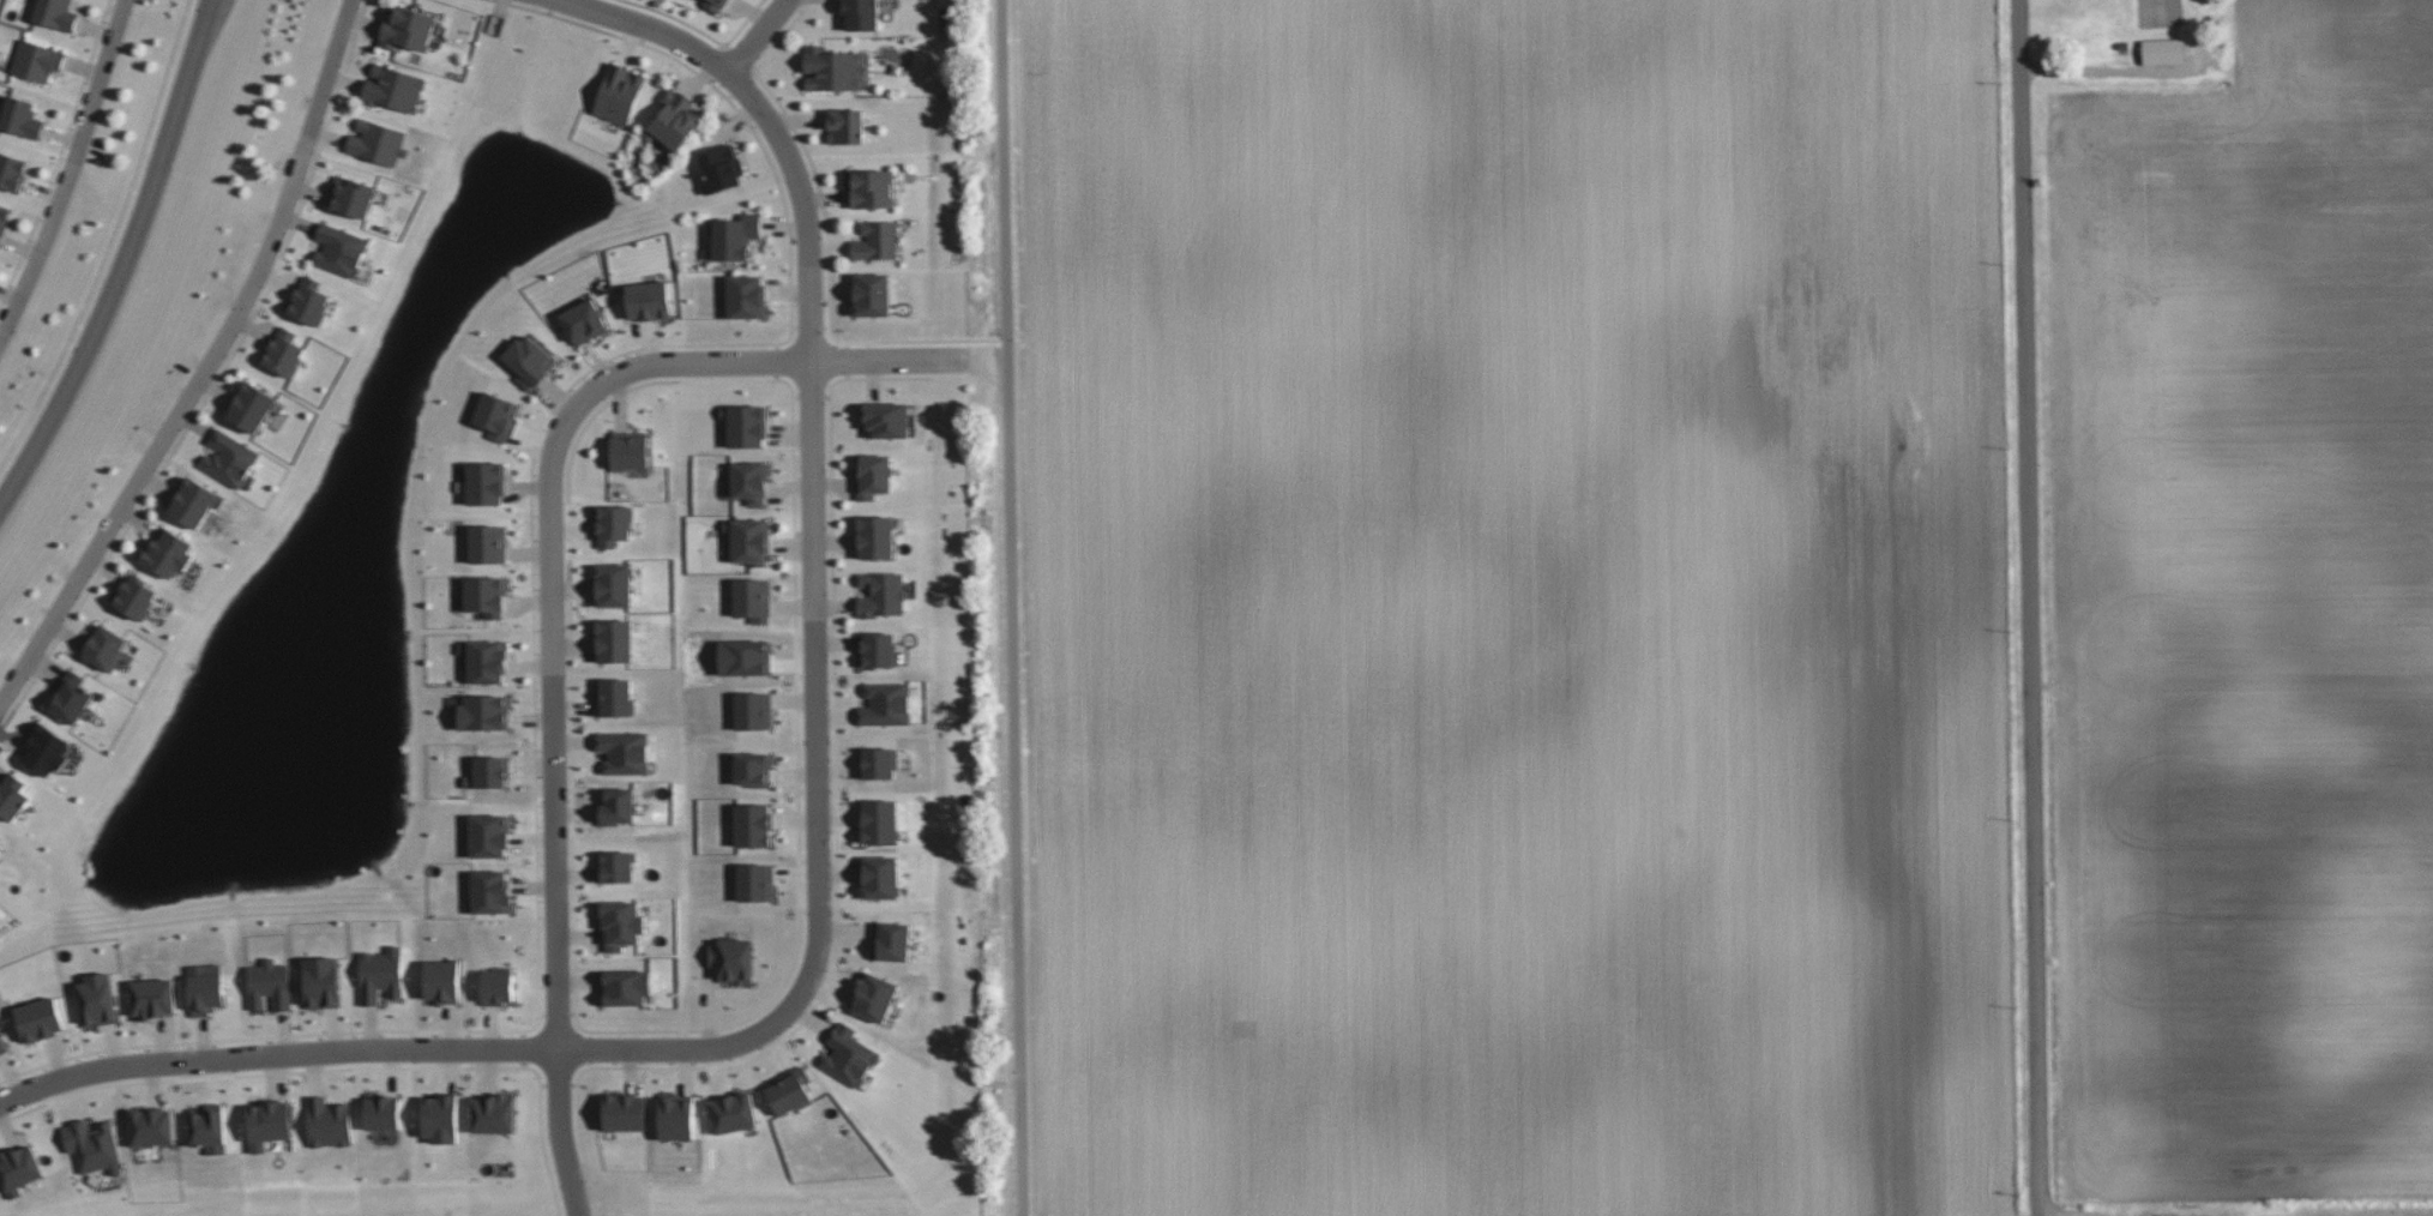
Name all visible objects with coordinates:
building: (715, 4)
building: (55, 13)
building: (860, 13)
building: (408, 29)
road: (752, 35)
building: (2163, 50)
building: (36, 60)
building: (831, 68)
building: (393, 88)
road: (741, 92)
building: (619, 94)
building: (20, 116)
building: (674, 120)
building: (845, 126)
building: (378, 142)
building: (721, 168)
road: (68, 170)
building: (11, 171)
building: (871, 188)
building: (351, 195)
building: (4, 218)
building: (734, 236)
building: (877, 240)
building: (341, 248)
road: (125, 260)
building: (871, 294)
building: (746, 296)
building: (649, 300)
building: (308, 301)
road: (812, 312)
building: (584, 320)
road: (910, 342)
building: (283, 353)
road: (895, 357)
building: (529, 361)
road: (205, 363)
building: (252, 407)
building: (496, 415)
building: (886, 419)
building: (745, 425)
building: (630, 450)
building: (229, 457)
building: (872, 475)
building: (748, 481)
building: (486, 482)
building: (195, 501)
building: (613, 524)
building: (874, 536)
building: (748, 540)
building: (488, 543)
building: (167, 553)
building: (613, 584)
building: (880, 594)
building: (486, 595)
building: (134, 596)
building: (752, 598)
road: (552, 600)
road: (1011, 607)
road: (2028, 607)
building: (614, 639)
building: (103, 648)
building: (878, 650)
building: (743, 657)
building: (486, 660)
building: (614, 696)
building: (70, 697)
building: (885, 703)
building: (753, 710)
building: (483, 712)
building: (46, 748)
building: (624, 752)
building: (878, 763)
building: (753, 769)
building: (489, 771)
building: (13, 796)
building: (616, 806)
road: (821, 808)
building: (879, 820)
building: (752, 824)
building: (489, 835)
building: (0, 838)
building: (0, 839)
building: (616, 866)
building: (880, 877)
building: (755, 881)
building: (490, 891)
building: (621, 925)
building: (891, 940)
building: (733, 959)
building: (380, 974)
building: (442, 981)
building: (323, 982)
building: (270, 983)
building: (498, 986)
building: (625, 986)
building: (205, 988)
building: (873, 995)
building: (153, 997)
building: (97, 999)
building: (40, 1019)
building: (2, 1043)
road: (276, 1053)
building: (848, 1055)
building: (789, 1090)
building: (381, 1110)
building: (625, 1110)
building: (733, 1112)
building: (494, 1113)
building: (675, 1115)
building: (440, 1118)
building: (327, 1121)
building: (270, 1122)
building: (151, 1126)
building: (210, 1128)
road: (559, 1134)
building: (92, 1145)
building: (18, 1168)

